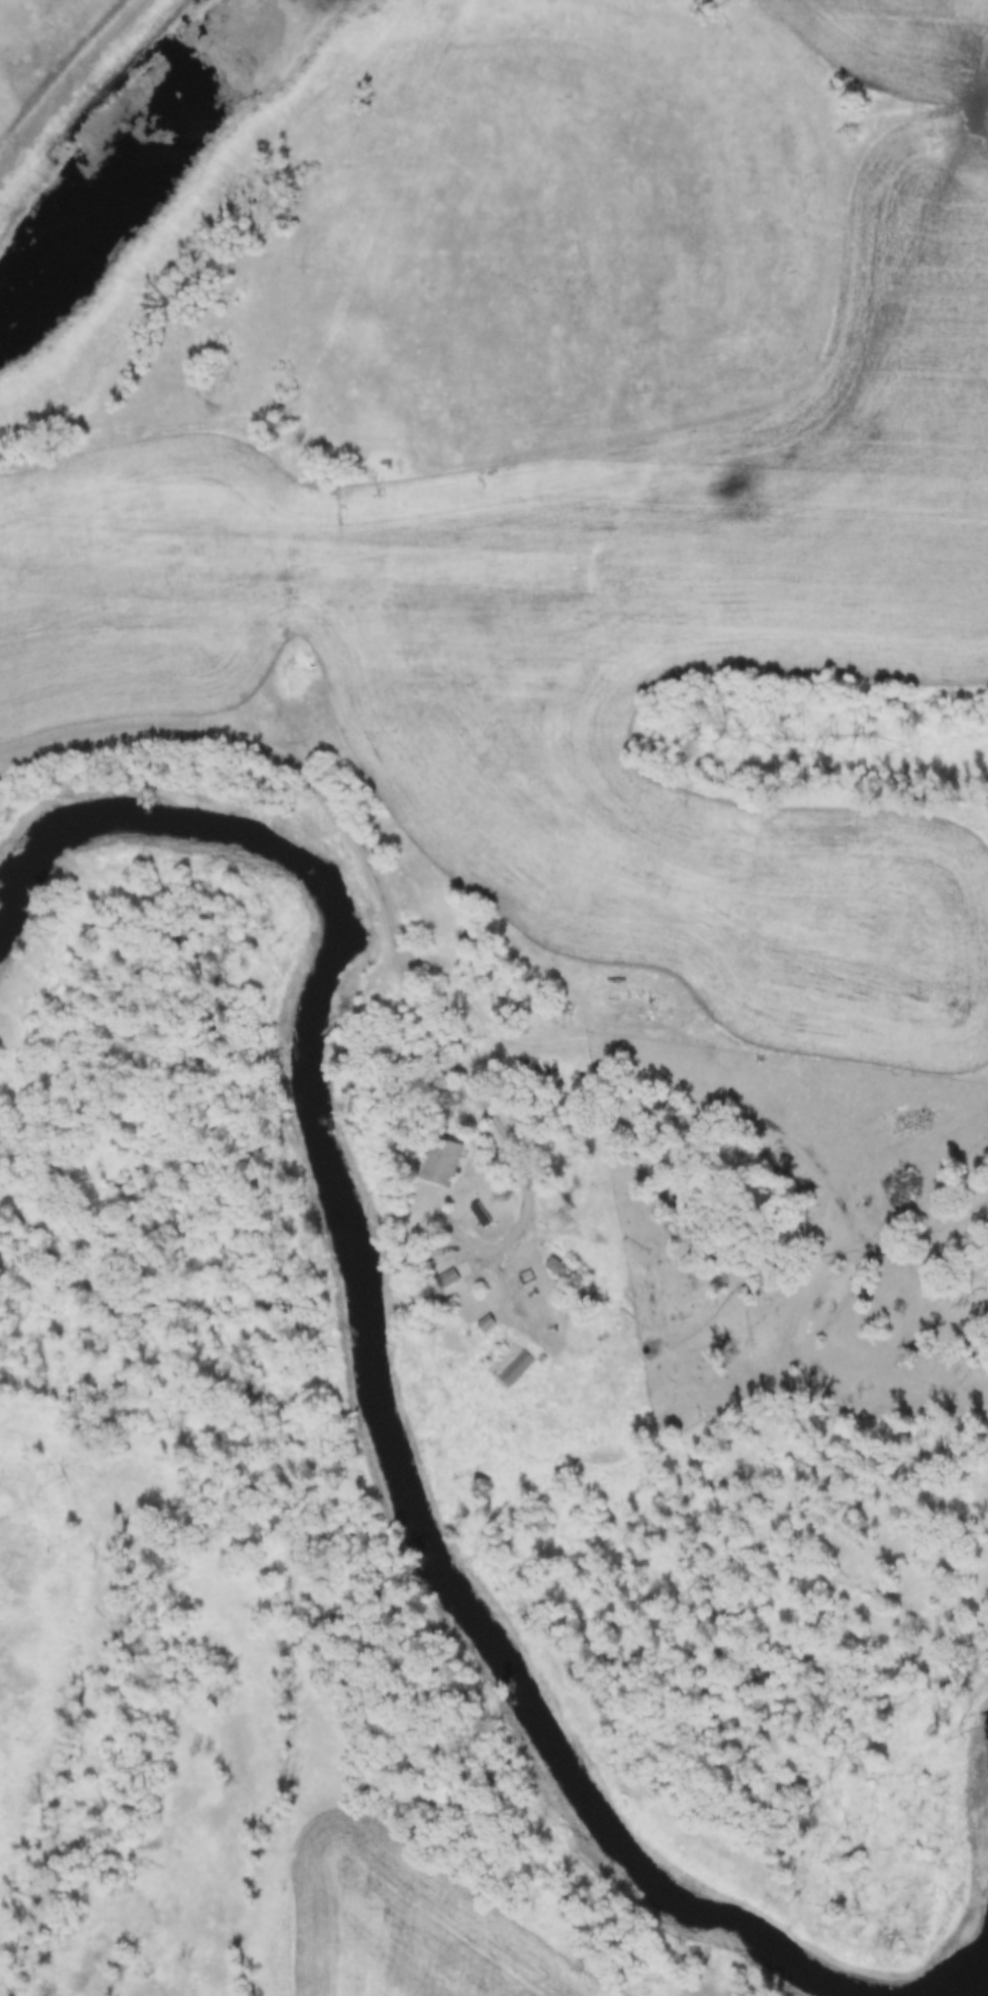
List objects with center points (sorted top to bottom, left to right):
road: (384, 902)
building: (440, 1162)
building: (449, 1279)
building: (486, 1324)
building: (512, 1365)
river: (375, 1410)
river: (984, 1774)

